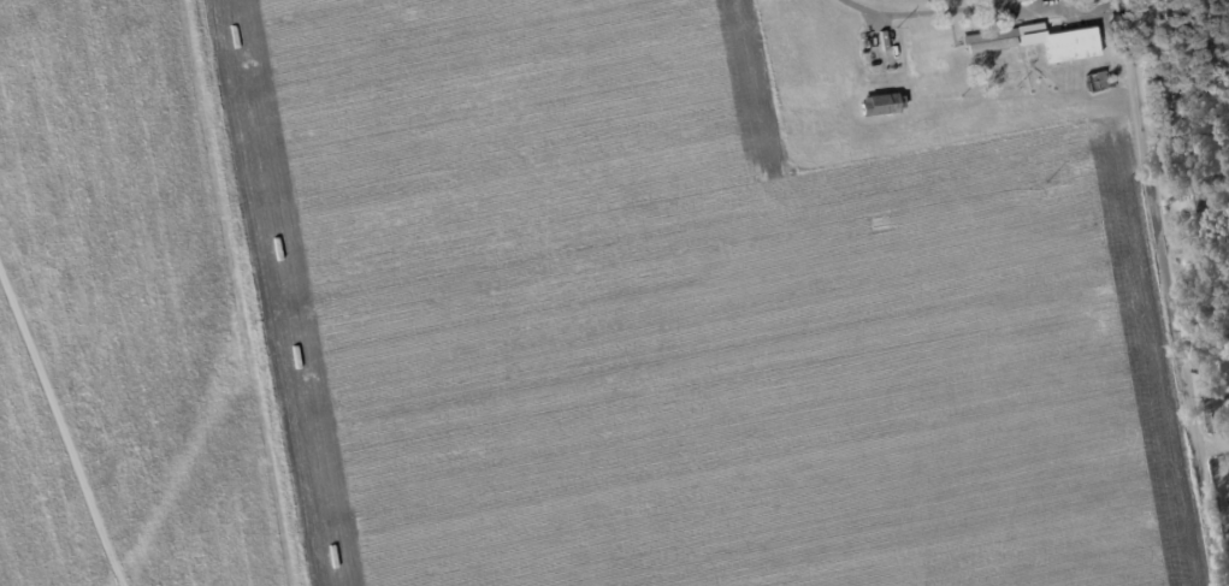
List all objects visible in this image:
road: (977, 11)
building: (1033, 42)
building: (879, 105)
road: (1172, 292)
building: (1225, 369)
road: (60, 427)
road: (1215, 446)

